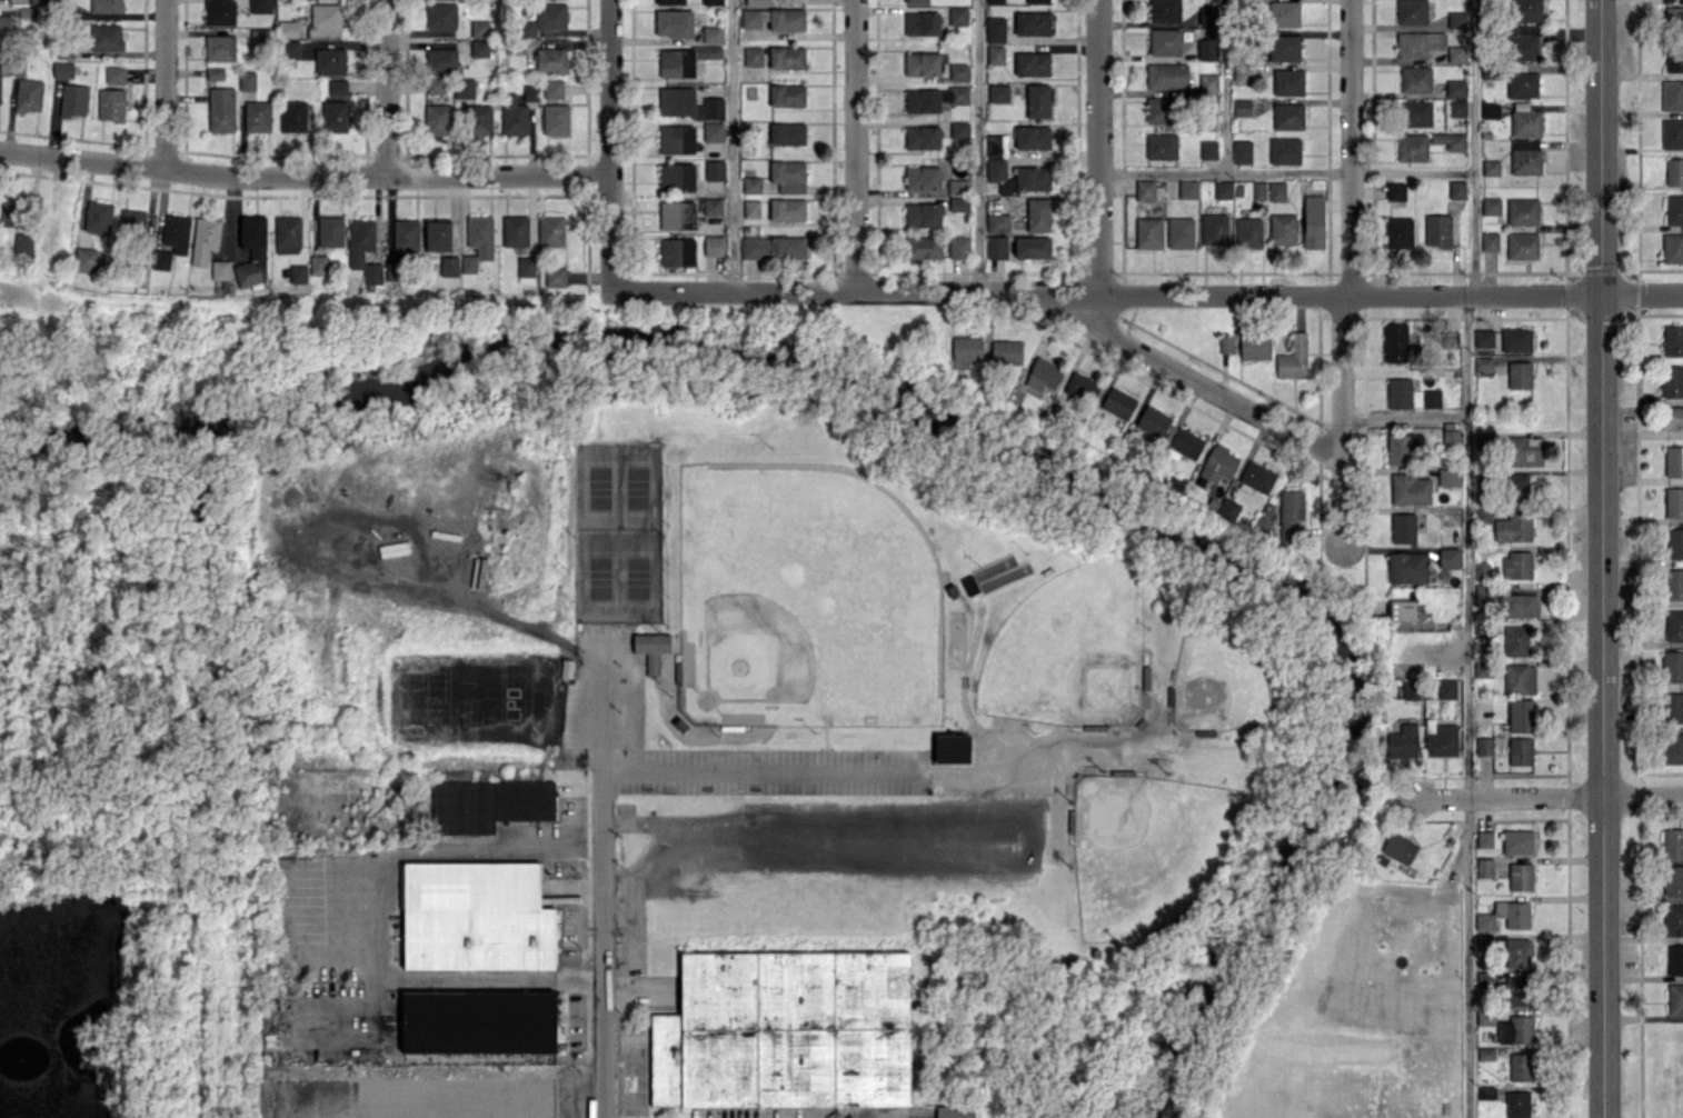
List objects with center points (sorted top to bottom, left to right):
building: (39, 1)
building: (669, 1)
building: (915, 1)
building: (995, 1)
building: (1037, 1)
building: (713, 2)
building: (757, 2)
building: (106, 6)
building: (260, 6)
building: (1164, 10)
building: (1525, 10)
building: (1411, 11)
building: (220, 12)
building: (1284, 13)
building: (440, 16)
building: (958, 16)
building: (1207, 16)
building: (749, 18)
building: (326, 19)
building: (545, 19)
building: (787, 19)
building: (1456, 19)
building: (1674, 19)
building: (674, 22)
building: (1032, 22)
building: (922, 23)
building: (6, 28)
building: (479, 28)
building: (287, 29)
building: (995, 29)
building: (711, 34)
building: (106, 37)
building: (259, 38)
building: (1164, 41)
building: (1523, 42)
building: (1418, 43)
building: (1283, 47)
building: (220, 48)
building: (479, 48)
building: (292, 49)
building: (1207, 49)
building: (708, 52)
building: (1456, 53)
building: (995, 54)
building: (753, 56)
building: (0, 57)
building: (787, 58)
building: (1674, 58)
building: (441, 60)
building: (550, 60)
building: (330, 61)
building: (676, 63)
building: (922, 63)
building: (1032, 63)
building: (62, 69)
building: (958, 71)
building: (114, 73)
building: (215, 73)
building: (1166, 76)
building: (1239, 78)
building: (1415, 79)
building: (247, 80)
building: (1288, 81)
building: (1208, 83)
road: (166, 84)
building: (1522, 84)
building: (436, 86)
road: (1225, 86)
building: (337, 87)
building: (465, 88)
building: (1455, 88)
road: (385, 89)
building: (552, 89)
building: (530, 92)
building: (997, 92)
building: (28, 94)
building: (787, 94)
building: (1672, 96)
building: (933, 98)
building: (73, 99)
building: (676, 100)
building: (1038, 100)
building: (111, 104)
building: (1242, 107)
building: (709, 108)
building: (1456, 108)
building: (221, 109)
building: (1490, 109)
building: (1159, 110)
building: (1416, 112)
building: (512, 114)
building: (257, 116)
building: (292, 116)
building: (333, 116)
building: (1287, 116)
building: (437, 119)
building: (480, 119)
building: (555, 119)
building: (1525, 120)
building: (958, 130)
building: (713, 131)
building: (787, 133)
building: (1672, 133)
building: (922, 137)
building: (1032, 137)
building: (676, 139)
building: (1448, 140)
road: (609, 146)
road: (733, 146)
road: (855, 146)
road: (977, 146)
building: (996, 146)
building: (1161, 146)
road: (1097, 147)
road: (1350, 147)
building: (1412, 147)
road: (1473, 147)
building: (1208, 149)
building: (1284, 150)
building: (1242, 151)
building: (1525, 157)
building: (1491, 167)
building: (714, 170)
road: (1286, 171)
building: (1674, 171)
building: (788, 176)
building: (676, 177)
building: (923, 177)
building: (1017, 177)
road: (303, 179)
building: (751, 184)
building: (956, 186)
building: (1187, 189)
building: (1223, 189)
building: (1457, 189)
building: (1145, 190)
building: (1258, 190)
building: (1395, 190)
building: (1276, 191)
building: (958, 203)
building: (711, 206)
building: (1491, 206)
building: (751, 209)
building: (787, 209)
building: (1674, 209)
building: (13, 211)
building: (1522, 211)
building: (677, 214)
building: (923, 214)
building: (1038, 214)
building: (98, 217)
building: (132, 221)
building: (1313, 221)
building: (997, 222)
building: (1214, 228)
building: (1282, 229)
building: (515, 230)
building: (1437, 230)
building: (330, 231)
building: (550, 231)
building: (176, 232)
building: (1148, 232)
building: (1179, 232)
building: (1247, 232)
building: (1398, 232)
building: (287, 233)
building: (406, 234)
building: (437, 236)
building: (480, 236)
building: (205, 239)
building: (1490, 241)
building: (23, 243)
building: (360, 243)
building: (714, 246)
building: (958, 246)
building: (1522, 246)
building: (774, 247)
building: (924, 247)
building: (996, 247)
building: (1032, 247)
building: (1672, 247)
building: (677, 251)
building: (260, 254)
building: (86, 259)
building: (161, 259)
building: (468, 263)
building: (318, 264)
building: (449, 266)
building: (526, 266)
building: (220, 269)
building: (298, 273)
building: (555, 276)
traffic signals: (1600, 293)
road: (1146, 295)
building: (1483, 338)
building: (1516, 339)
building: (1672, 340)
building: (1395, 341)
building: (1226, 345)
building: (1255, 347)
building: (966, 348)
building: (1006, 352)
building: (1293, 358)
building: (1483, 362)
building: (1043, 375)
building: (1518, 375)
building: (1672, 381)
road: (1207, 383)
building: (1079, 387)
building: (1398, 392)
building: (1432, 398)
building: (1118, 402)
building: (1672, 417)
road: (1404, 419)
road: (1342, 420)
building: (1152, 422)
building: (1451, 438)
building: (1483, 439)
building: (1183, 441)
building: (1403, 448)
river: (104, 449)
building: (1524, 450)
building: (1673, 460)
building: (1218, 463)
building: (1257, 476)
building: (1448, 476)
river: (1043, 477)
building: (1515, 487)
building: (1410, 489)
building: (1673, 501)
building: (1228, 508)
building: (1483, 515)
building: (1291, 516)
building: (1403, 527)
building: (1513, 527)
park: (617, 533)
building: (1675, 542)
building: (1448, 557)
road: (1602, 559)
building: (1516, 565)
building: (1407, 567)
building: (1482, 570)
building: (1674, 583)
building: (969, 585)
building: (1481, 590)
park: (804, 602)
building: (1518, 605)
building: (1401, 609)
building: (1674, 625)
building: (1515, 640)
building: (650, 649)
park: (1067, 653)
building: (1672, 666)
building: (1483, 668)
building: (1520, 678)
building: (1446, 688)
building: (1410, 689)
park: (1214, 690)
road: (1466, 706)
building: (1672, 707)
building: (1521, 716)
building: (1442, 740)
building: (1402, 741)
building: (1484, 746)
building: (1673, 747)
building: (952, 748)
building: (1520, 750)
road: (754, 768)
road: (1547, 797)
building: (488, 805)
building: (1484, 838)
building: (1517, 841)
road: (1032, 844)
building: (1673, 844)
building: (1398, 847)
park: (1148, 852)
building: (1484, 868)
building: (1521, 876)
building: (1673, 880)
road: (606, 890)
building: (1504, 915)
building: (476, 917)
building: (1672, 919)
building: (1484, 941)
building: (1516, 951)
building: (1674, 959)
building: (1507, 987)
building: (1675, 998)
building: (478, 1021)
building: (1516, 1029)
building: (785, 1030)
building: (1521, 1066)
building: (1486, 1092)
building: (1517, 1104)
building: (954, 1111)

